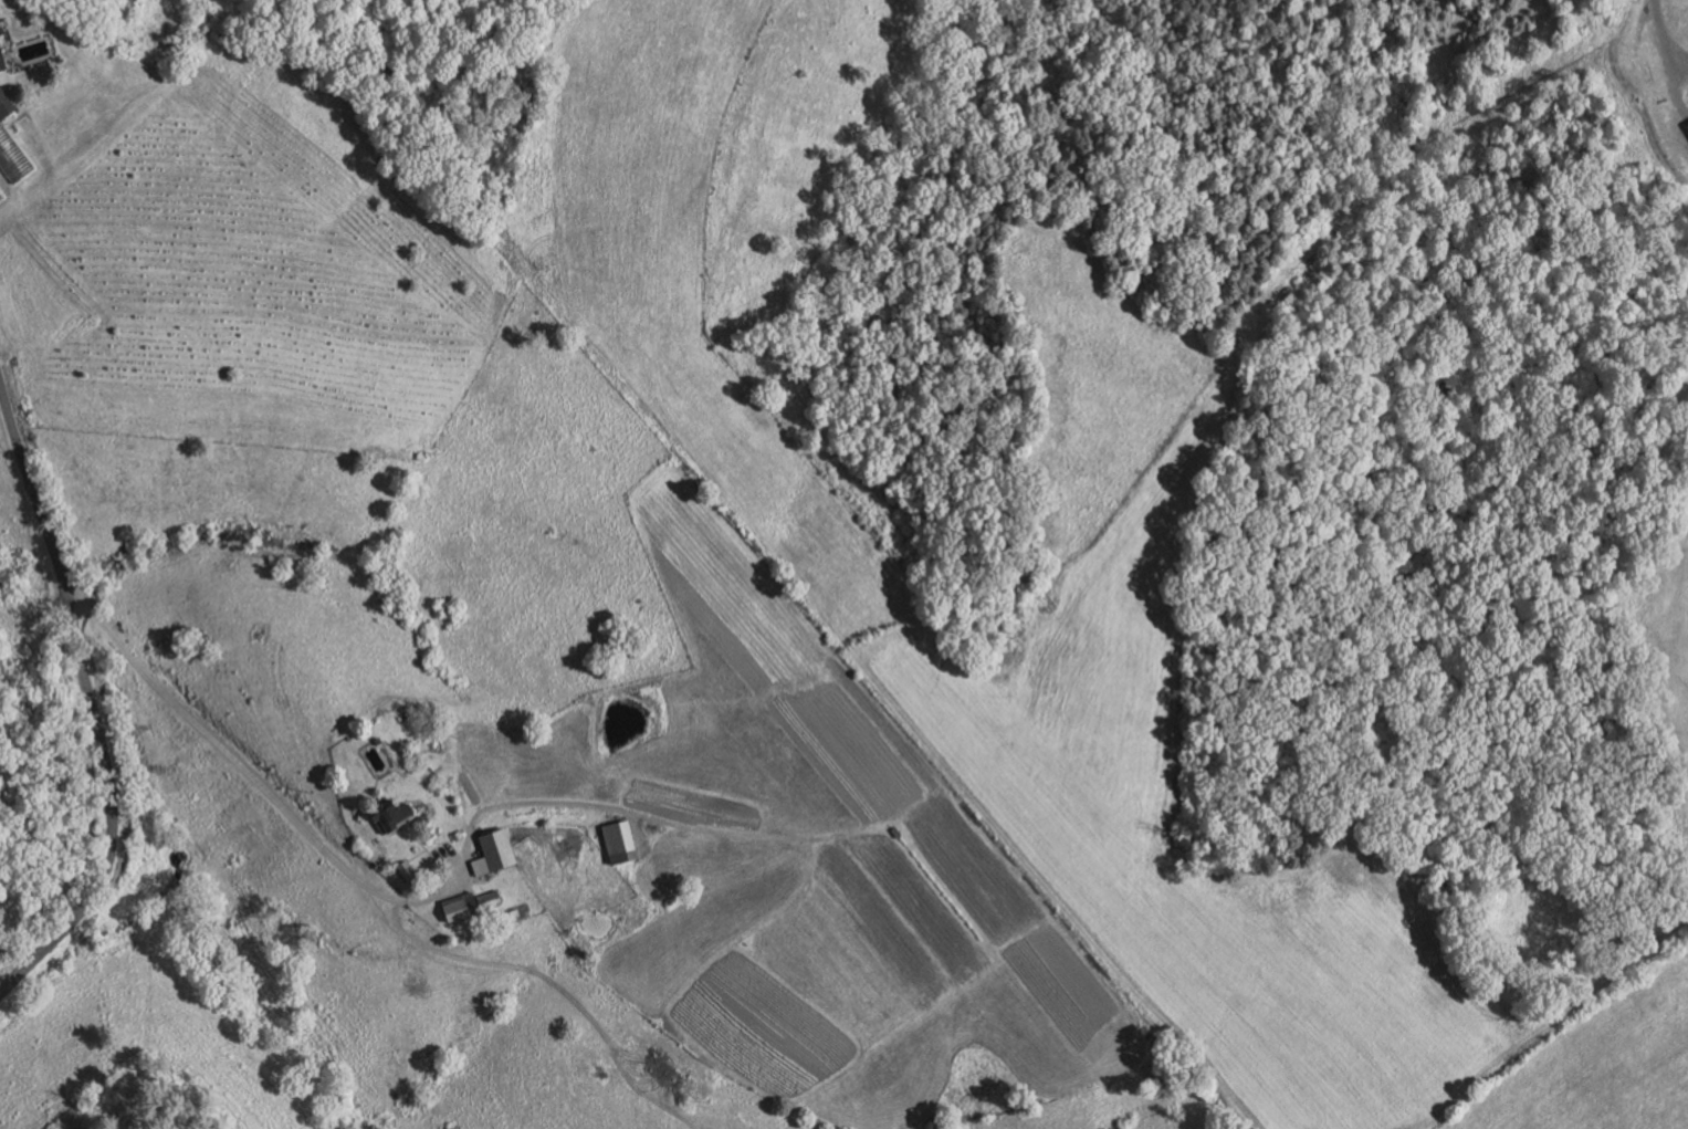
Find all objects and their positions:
road: (1669, 59)
road: (1679, 61)
building: (1, 62)
building: (4, 107)
building: (1687, 125)
building: (12, 159)
crop: (776, 652)
road: (91, 704)
building: (433, 762)
building: (392, 816)
road: (636, 824)
building: (619, 837)
building: (497, 849)
road: (458, 861)
building: (407, 871)
road: (406, 899)
building: (469, 905)
building: (512, 913)
road: (495, 963)
crop: (1060, 981)
crop: (737, 1042)

